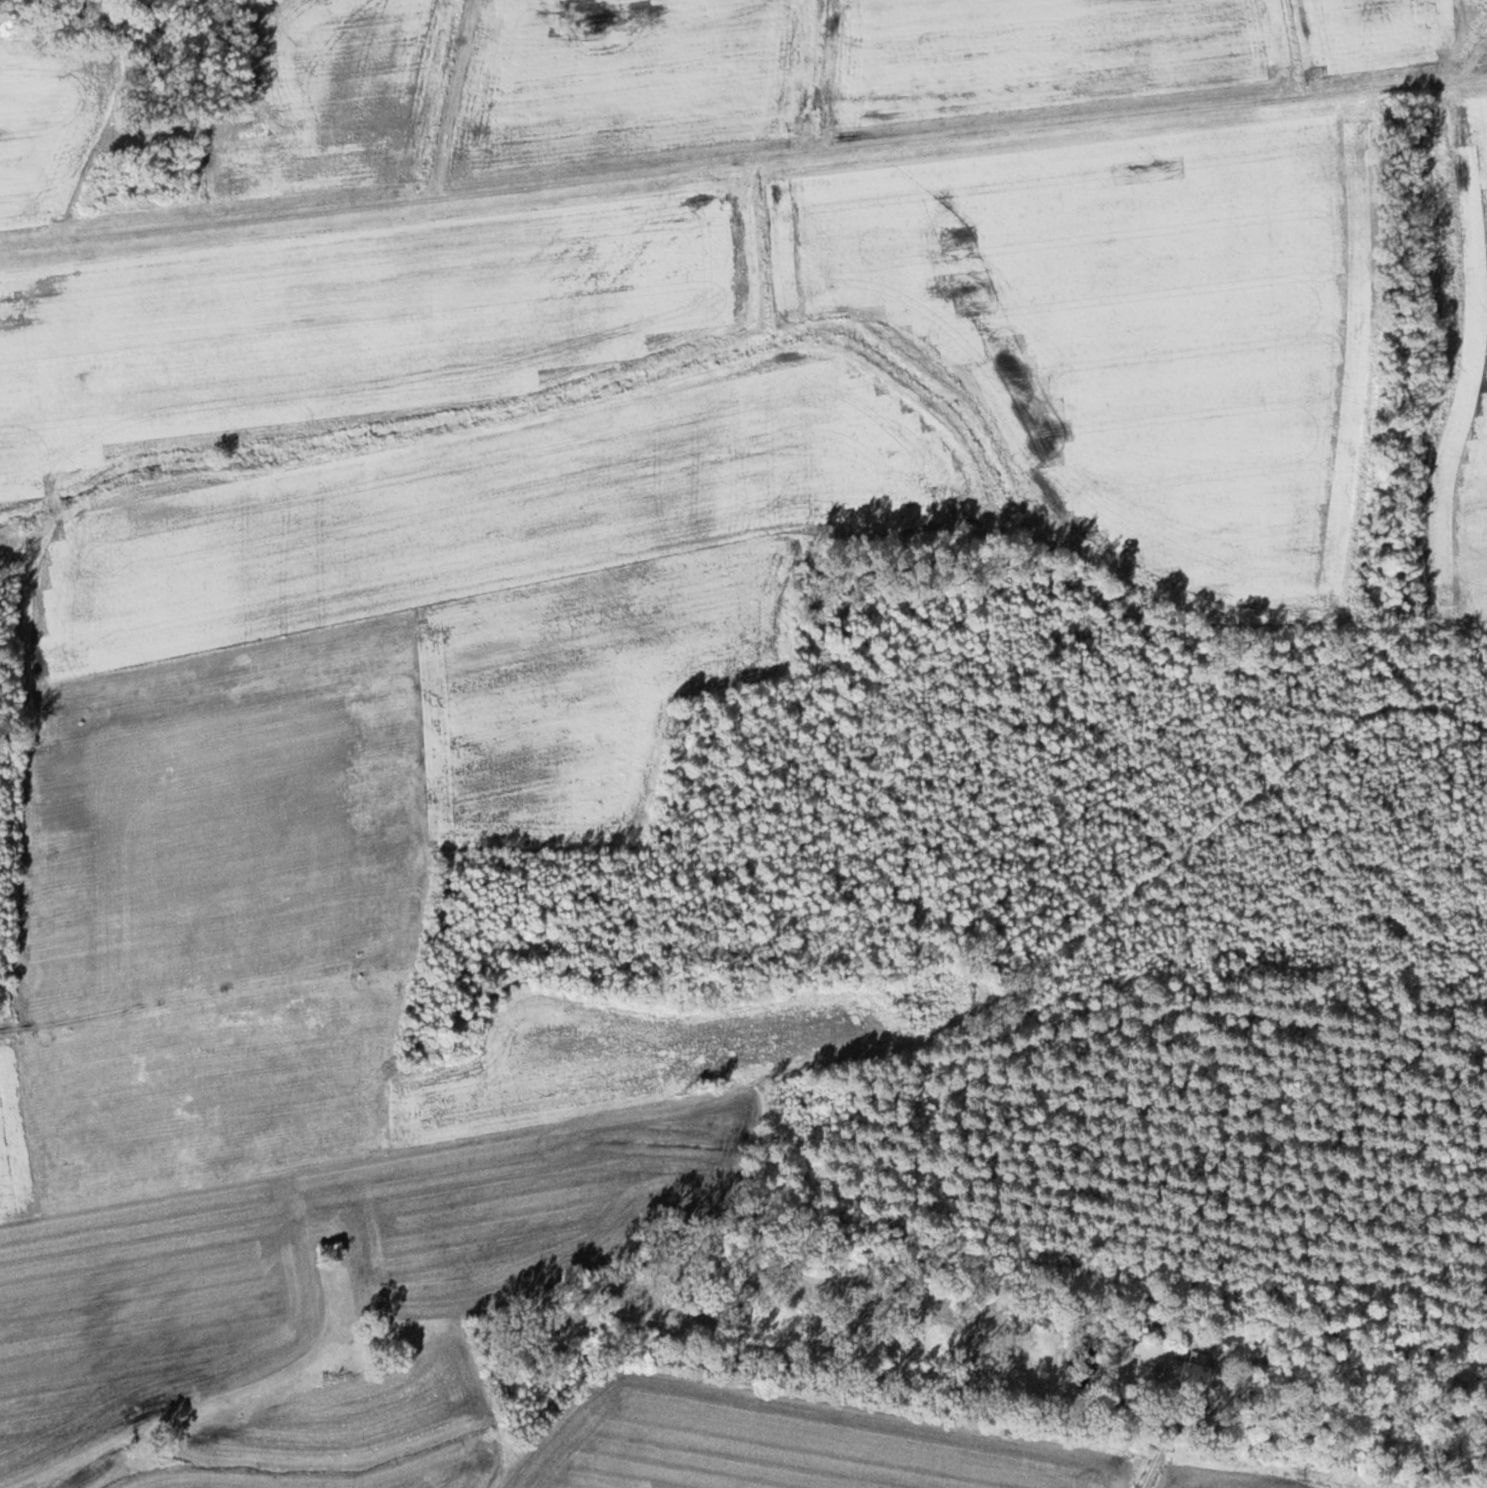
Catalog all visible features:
building: (336, 1251)
building: (1187, 1370)
road: (1149, 1473)

